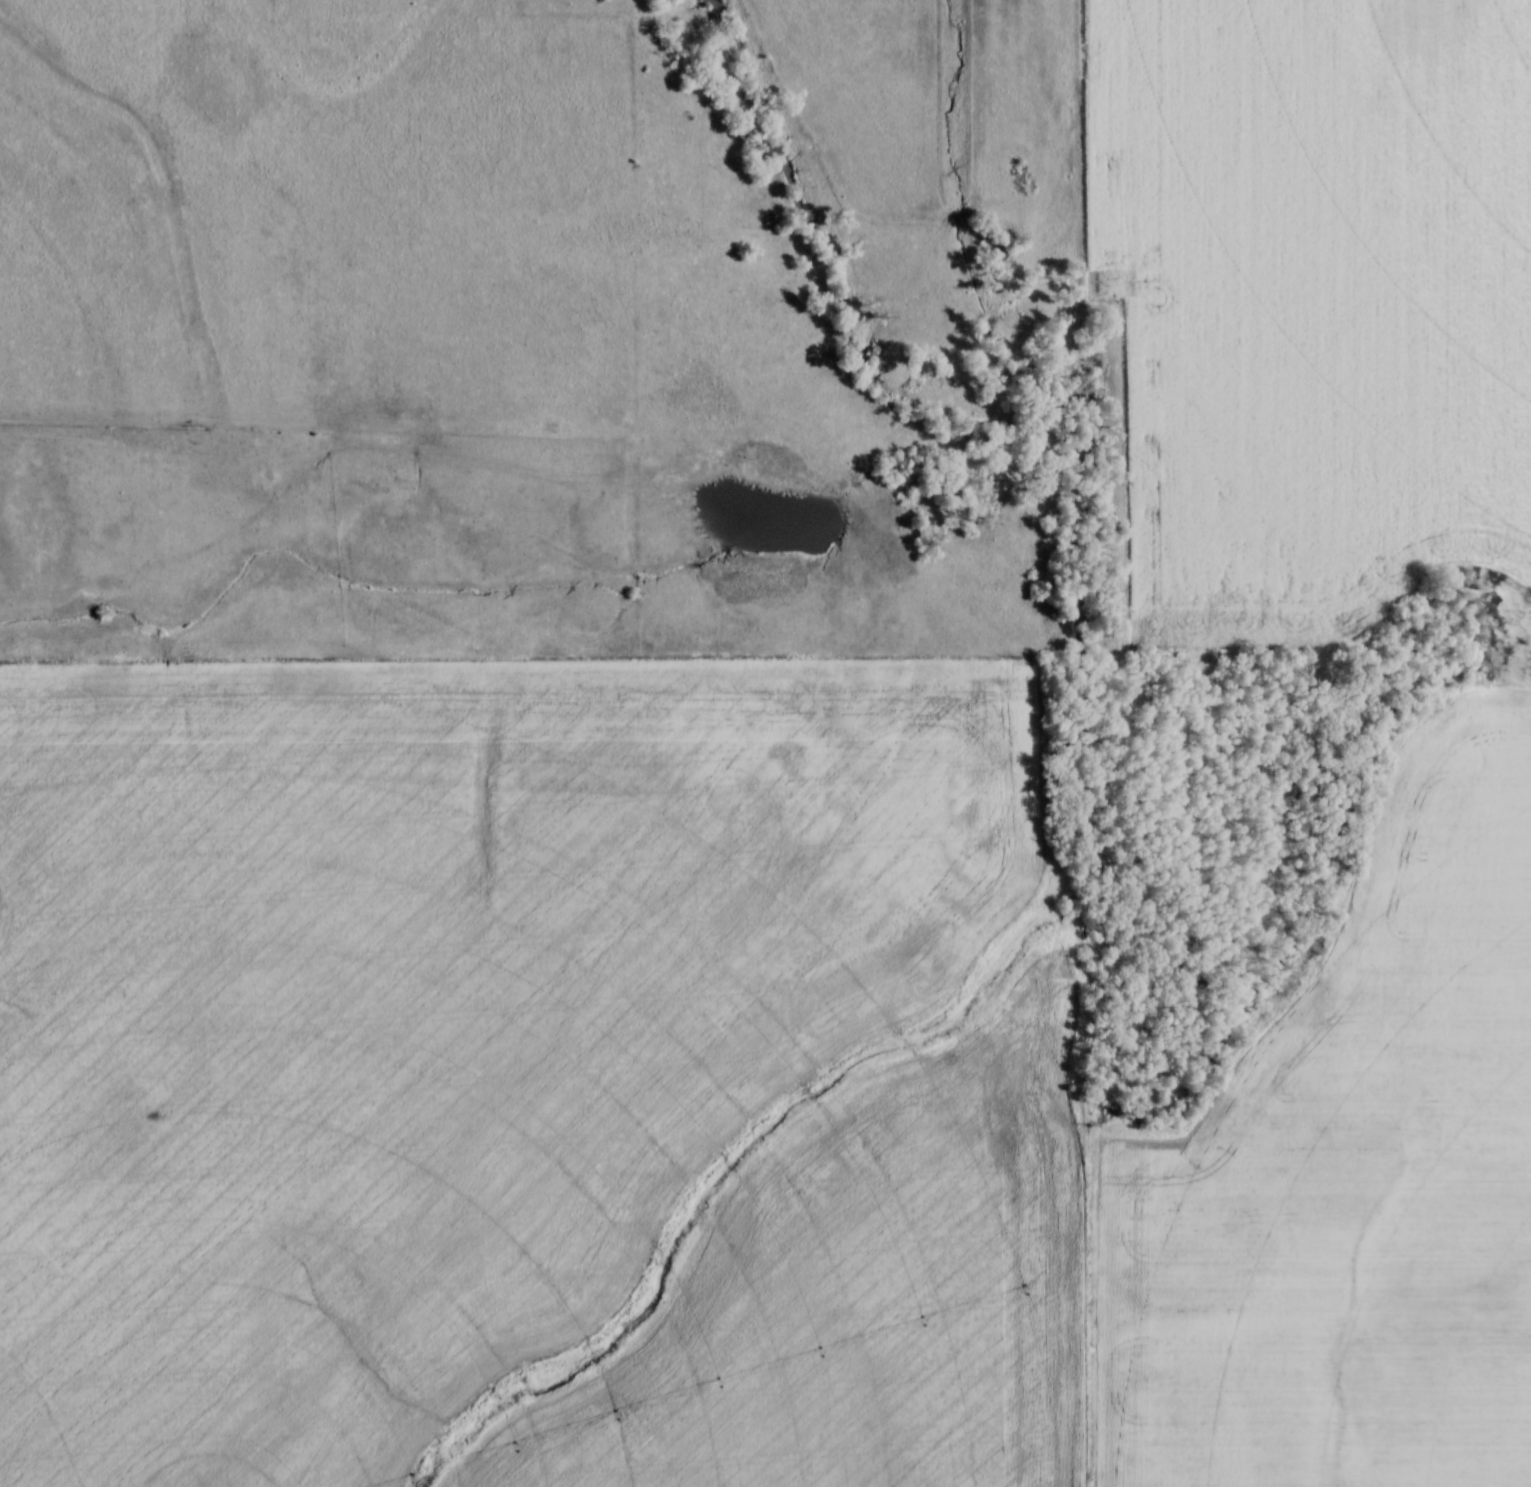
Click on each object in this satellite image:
crop: (1319, 306)

